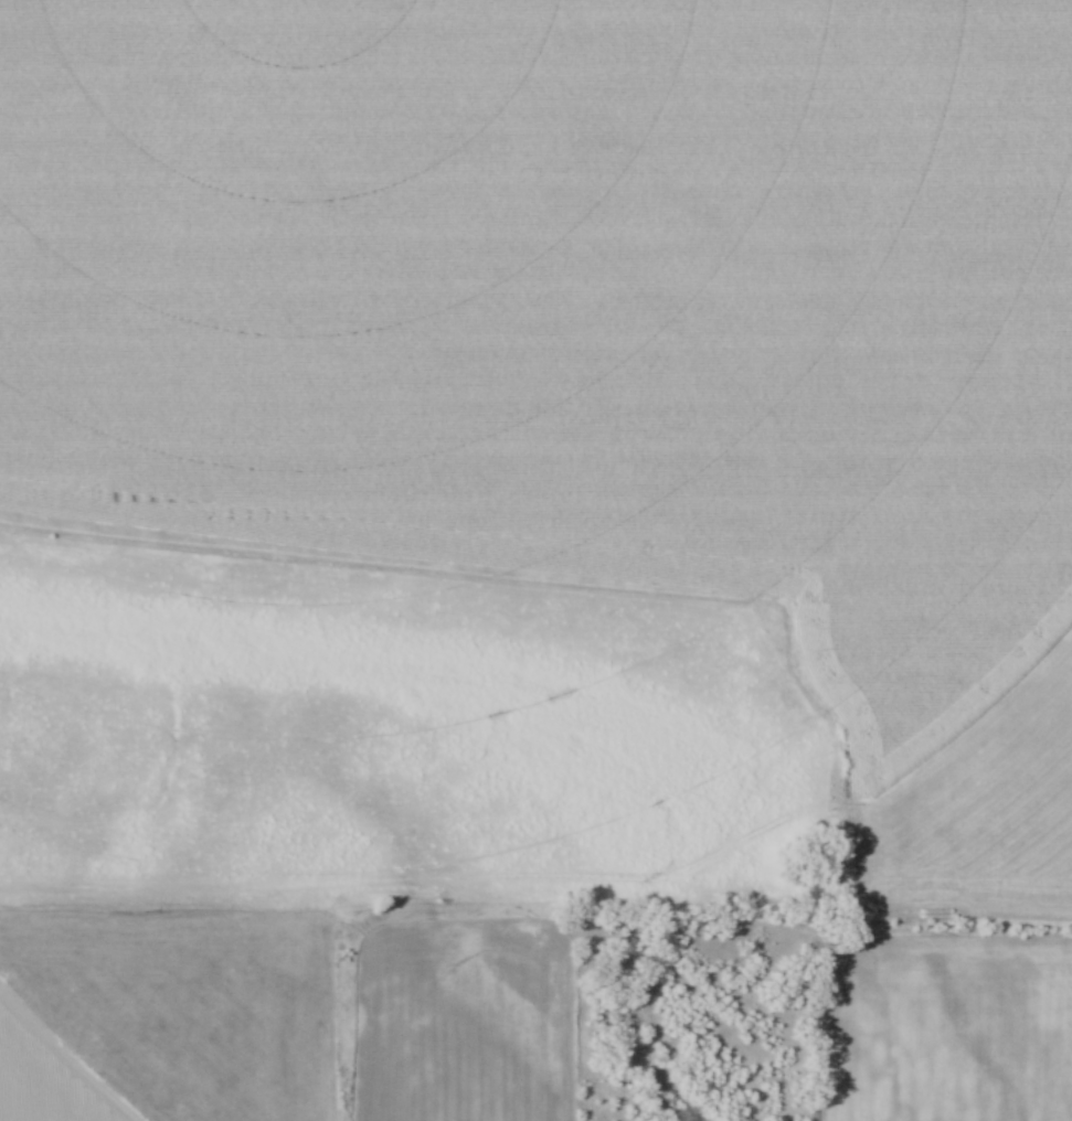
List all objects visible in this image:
crop: (595, 335)
road: (342, 883)
crop: (162, 1023)
crop: (942, 1033)

